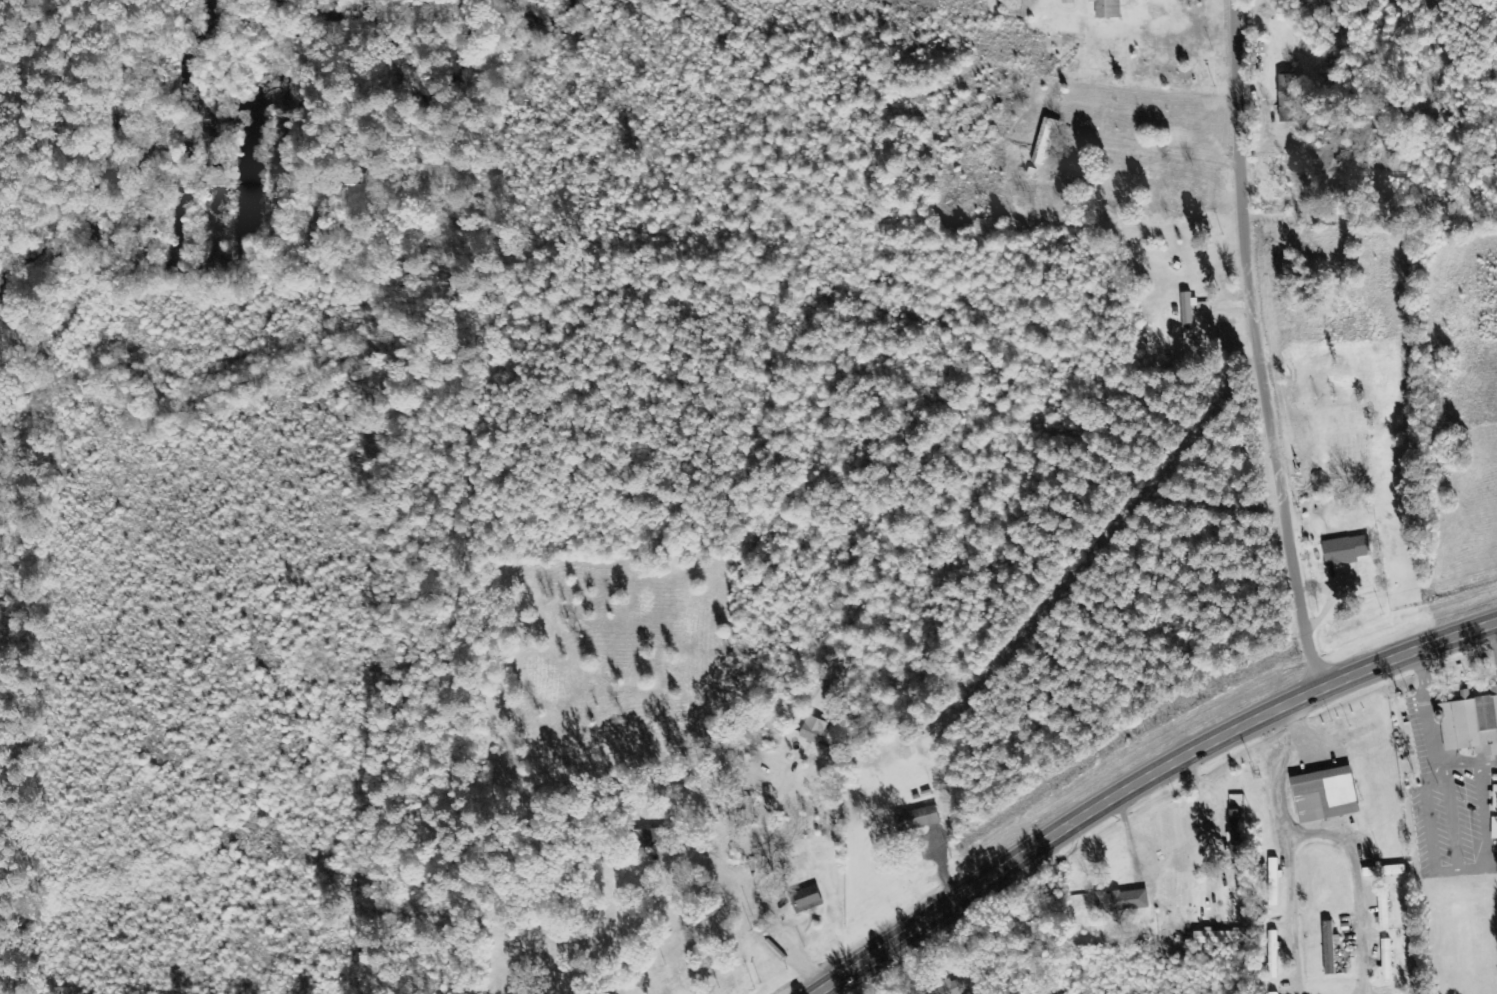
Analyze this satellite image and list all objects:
building: (1067, 2)
building: (1107, 9)
building: (1288, 99)
building: (1046, 139)
building: (1204, 310)
road: (1256, 346)
building: (1345, 550)
building: (1471, 724)
building: (813, 730)
road: (1140, 779)
building: (1325, 795)
building: (1495, 798)
building: (917, 819)
building: (1494, 828)
building: (1233, 833)
building: (645, 838)
building: (1273, 881)
building: (807, 899)
building: (1122, 901)
building: (1383, 909)
building: (1217, 937)
building: (1329, 947)
building: (1273, 955)
building: (1386, 960)
building: (955, 987)
building: (1273, 993)

